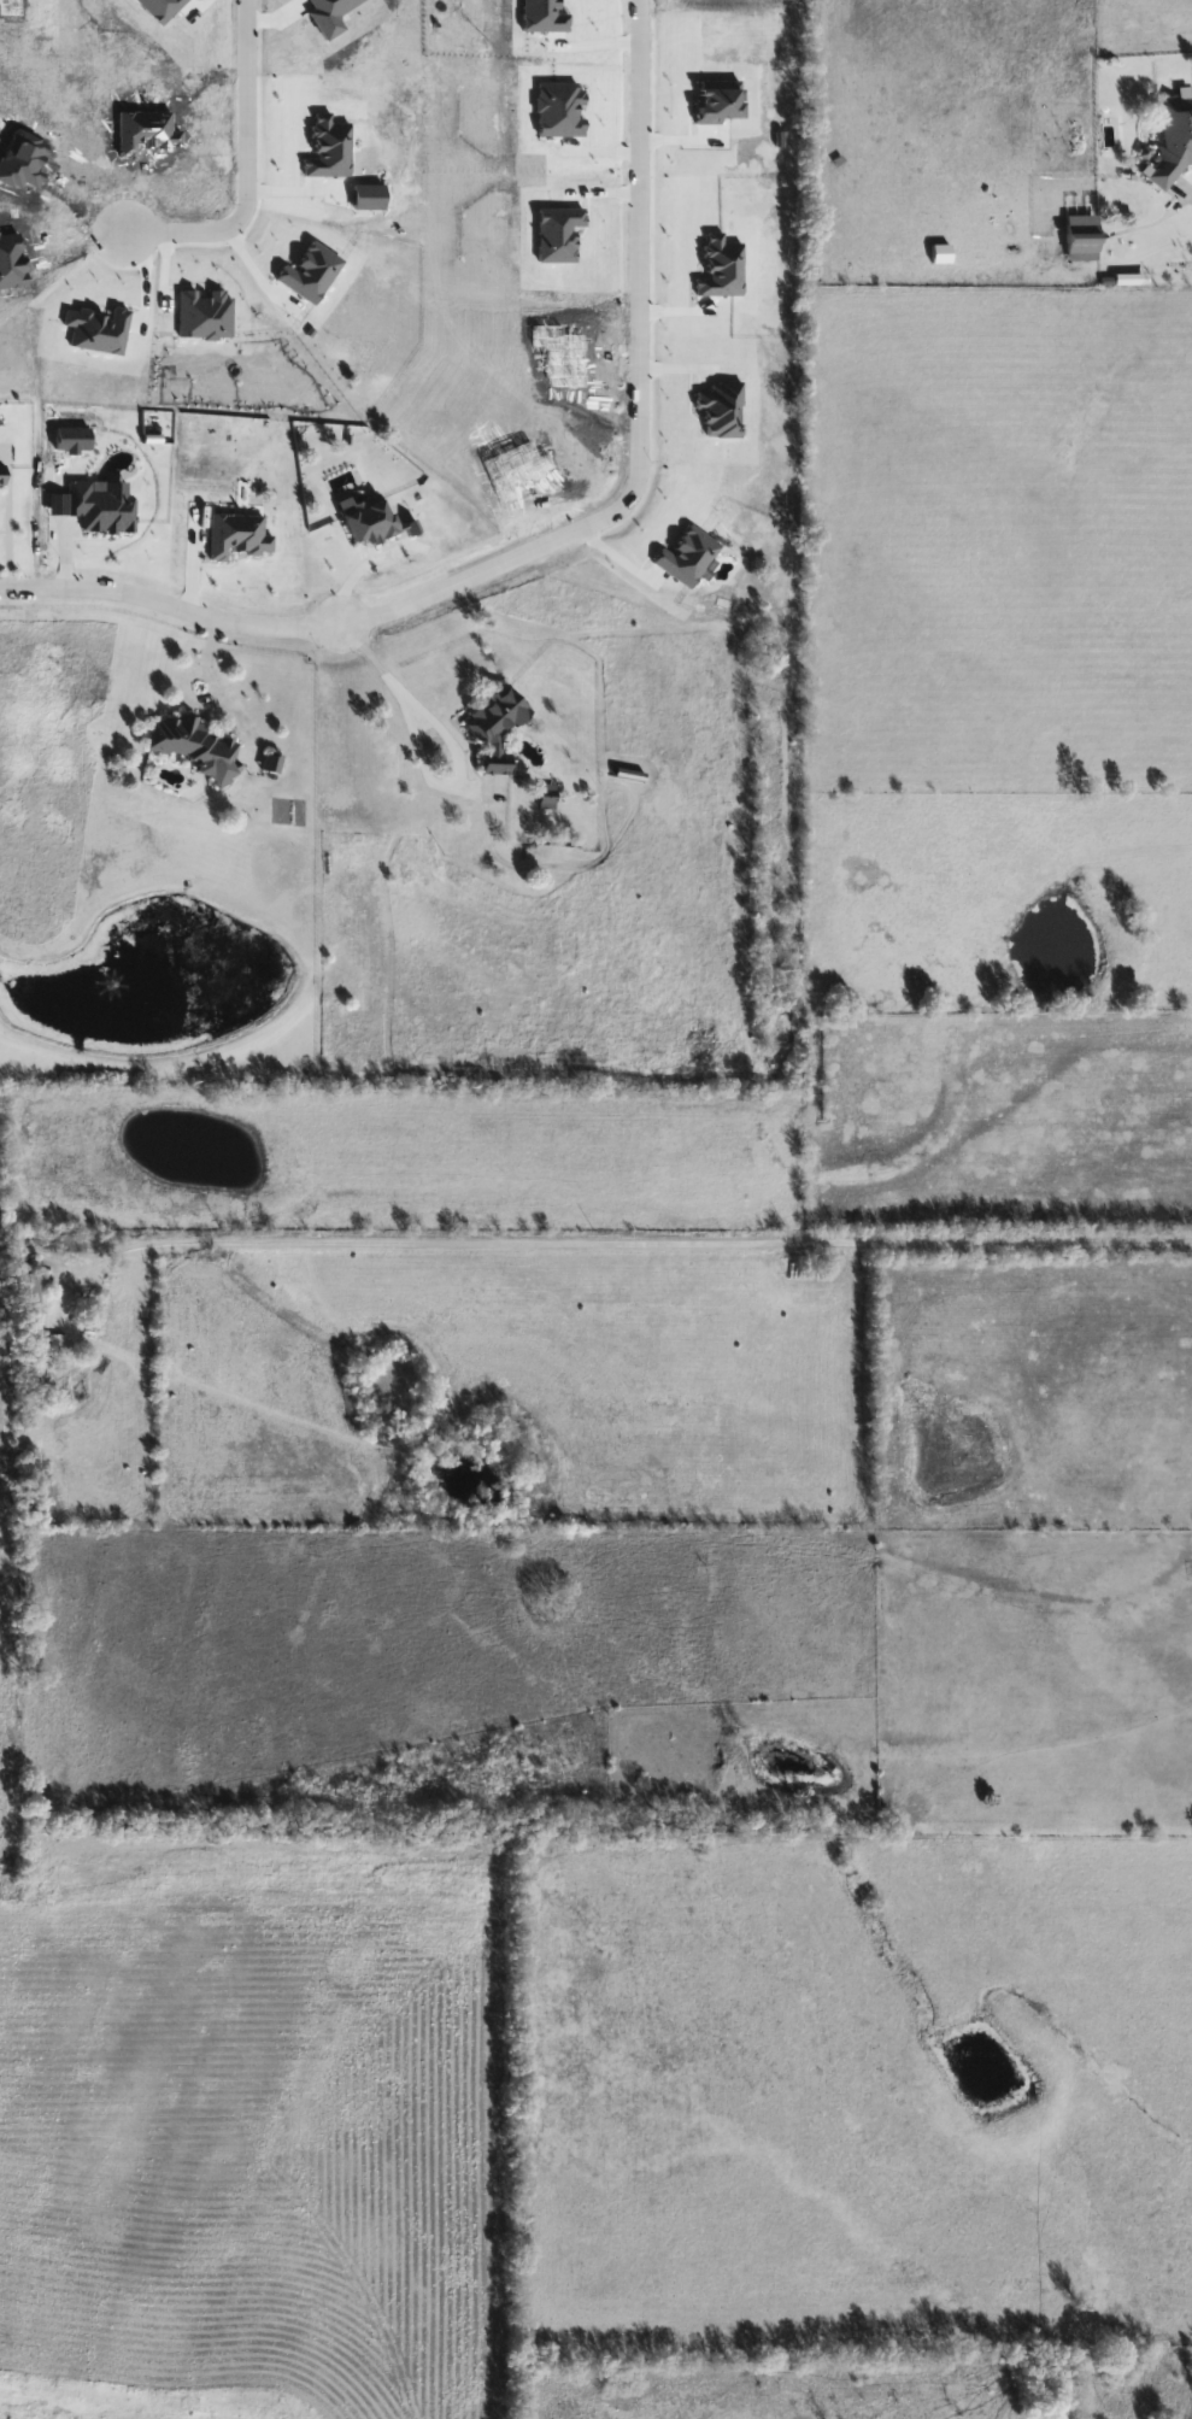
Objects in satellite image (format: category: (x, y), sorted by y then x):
building: (1169, 137)
road: (242, 165)
building: (1079, 229)
building: (5, 474)
building: (372, 518)
road: (556, 534)
road: (356, 574)
road: (391, 685)
road: (207, 688)
building: (500, 727)
building: (196, 744)
building: (70, 1243)
road: (593, 1243)
building: (33, 1286)
building: (57, 1339)

